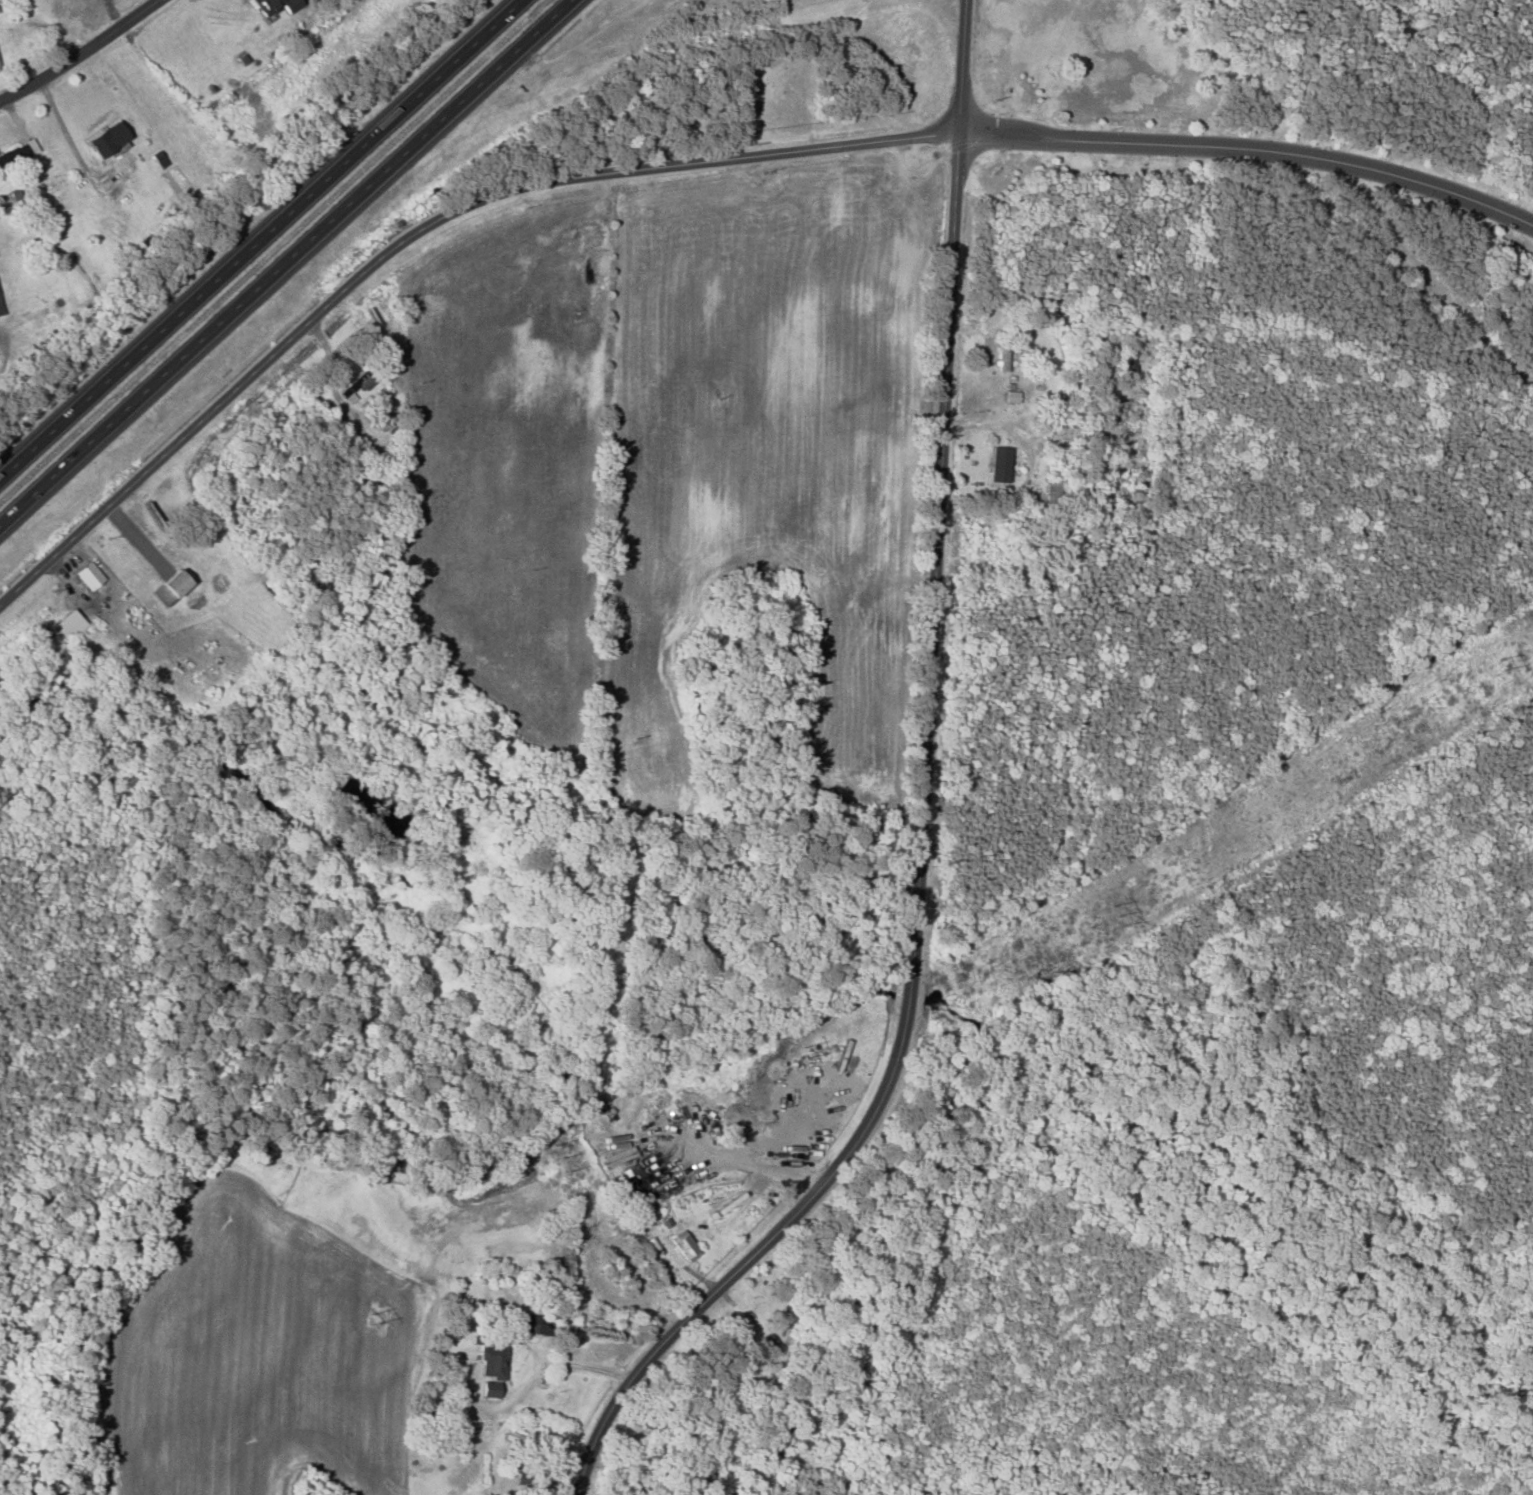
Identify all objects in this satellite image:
building: (273, 5)
road: (80, 53)
road: (962, 64)
road: (1023, 126)
building: (105, 137)
road: (1021, 142)
building: (13, 154)
road: (1314, 158)
road: (415, 233)
road: (265, 240)
road: (290, 266)
building: (0, 310)
building: (1002, 359)
building: (999, 464)
building: (87, 575)
building: (168, 588)
building: (68, 624)
power tower: (1506, 660)
road: (919, 868)
power tower: (1116, 911)
power tower: (802, 1048)
power tower: (555, 1155)
building: (683, 1246)
power tower: (375, 1318)
building: (528, 1324)
building: (492, 1359)
road: (567, 1364)
building: (488, 1388)

